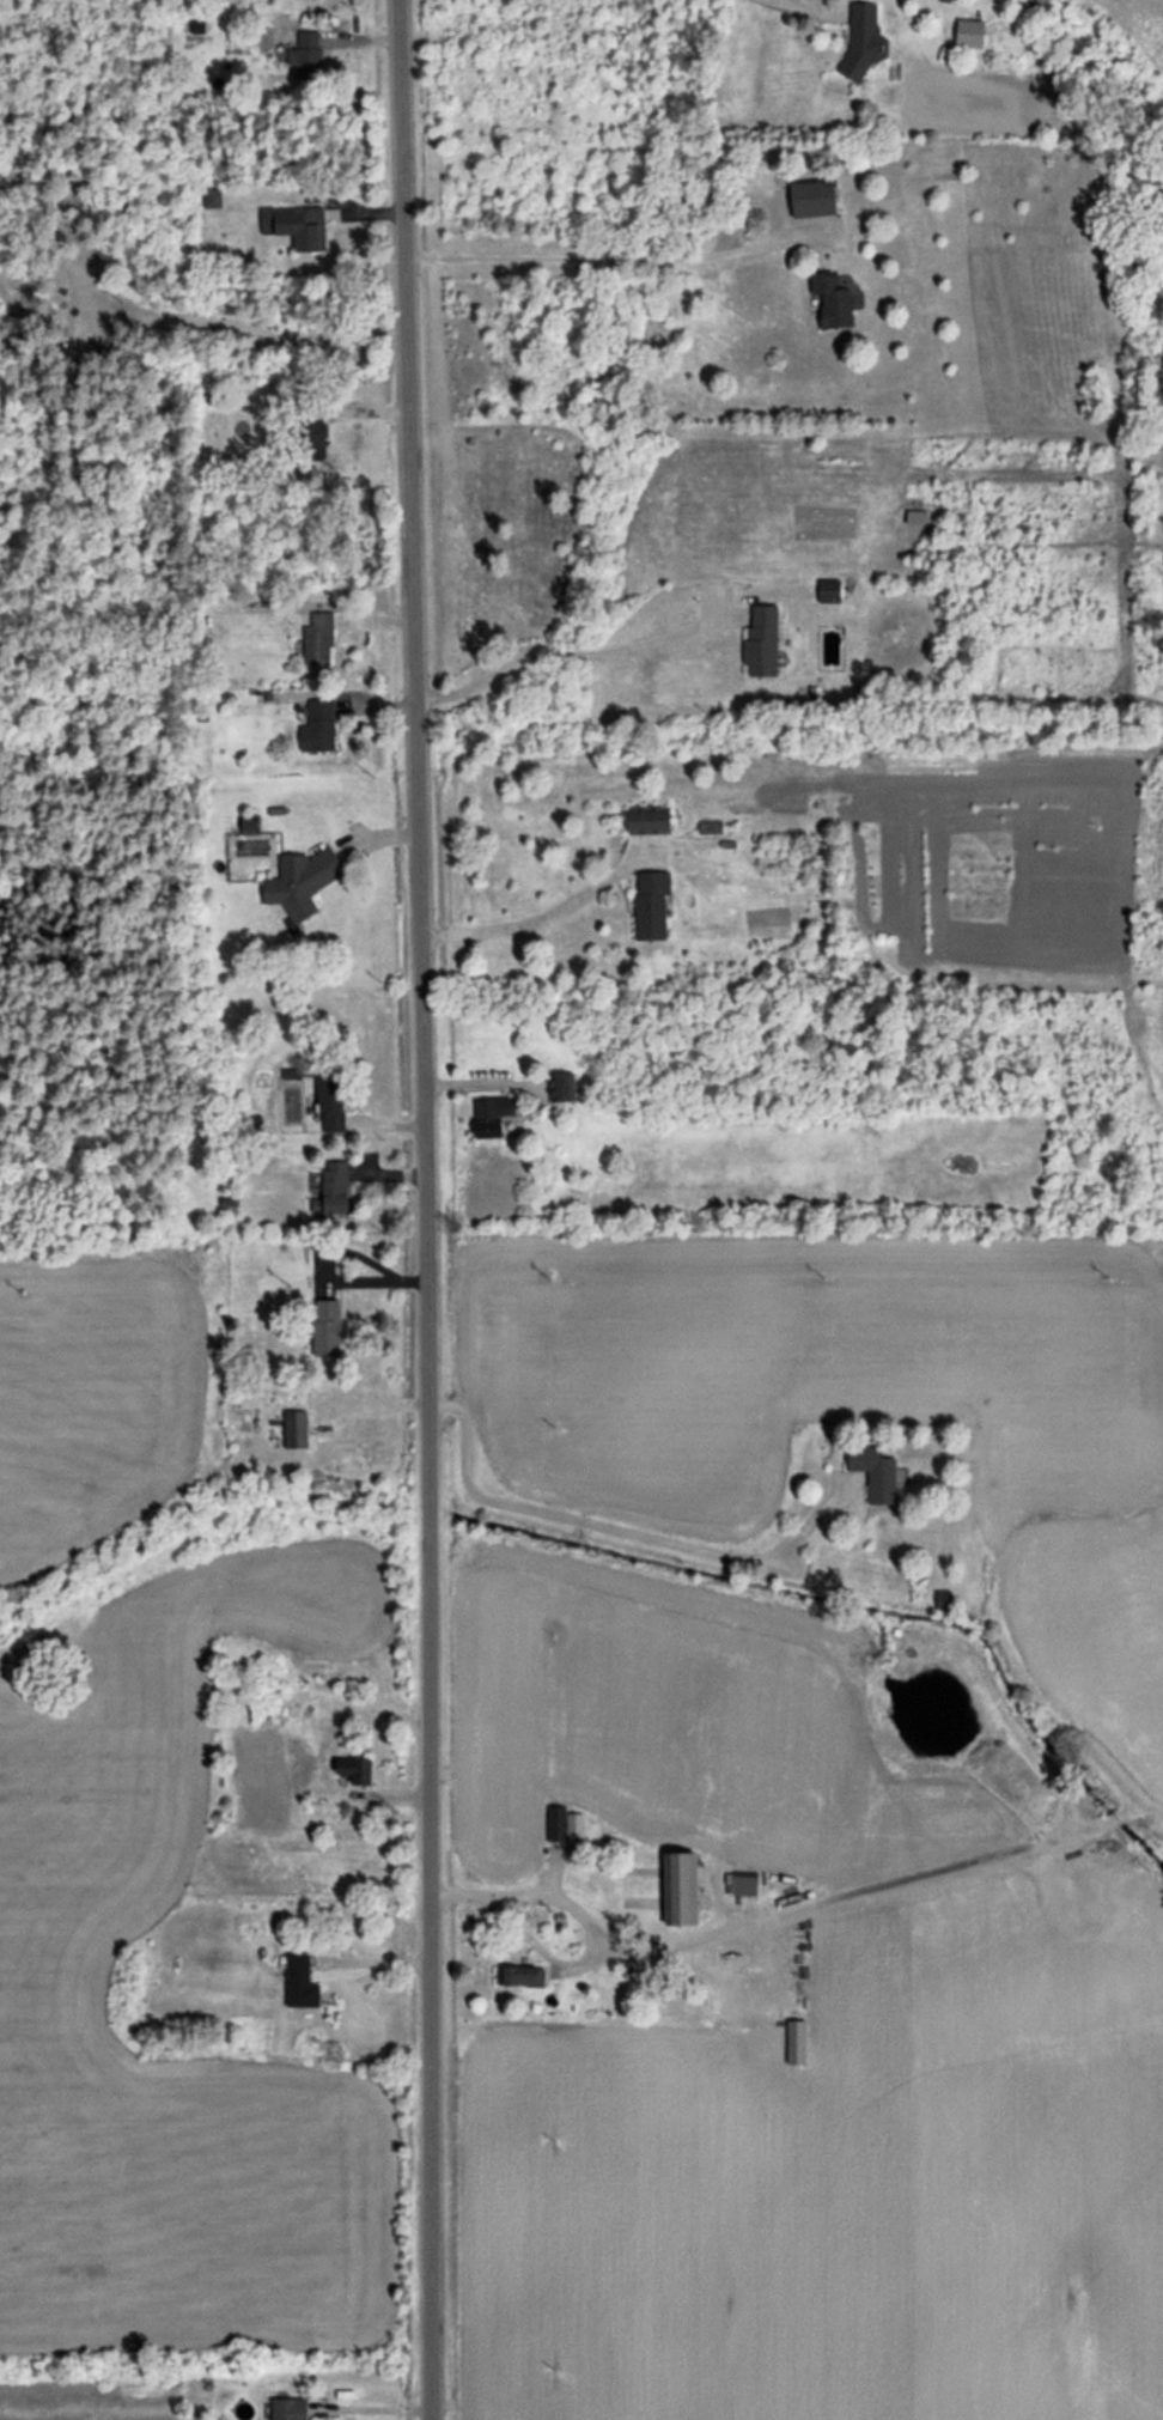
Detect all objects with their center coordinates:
building: (969, 32)
building: (863, 41)
building: (308, 51)
building: (812, 196)
building: (212, 197)
building: (297, 225)
road: (598, 257)
road: (243, 328)
building: (313, 439)
building: (915, 516)
building: (318, 638)
building: (761, 642)
road: (567, 651)
building: (318, 725)
building: (649, 820)
building: (250, 825)
building: (302, 880)
building: (650, 904)
road: (542, 917)
building: (330, 1103)
building: (333, 1188)
road: (422, 1209)
building: (327, 1326)
building: (296, 1428)
building: (873, 1472)
road: (614, 1530)
building: (354, 1769)
building: (677, 1890)
road: (536, 1945)
road: (626, 1953)
building: (300, 1981)
building: (290, 2408)

